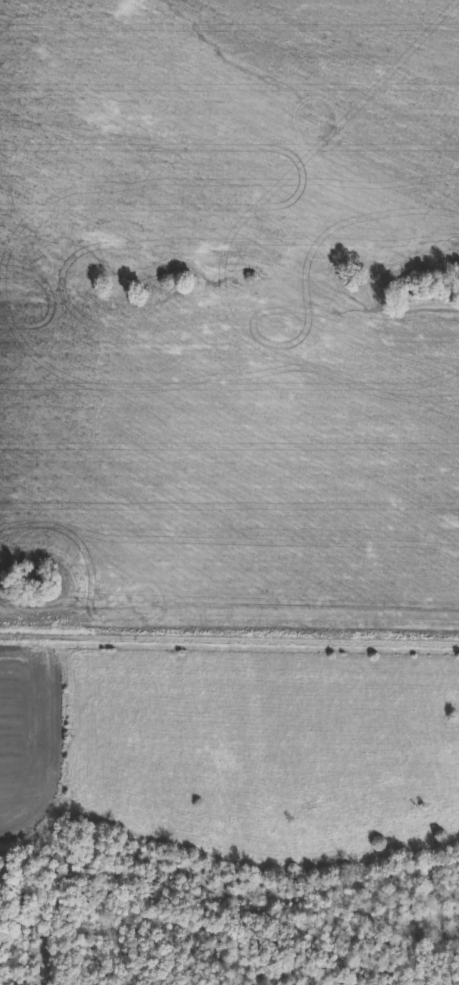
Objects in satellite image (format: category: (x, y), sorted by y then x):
road: (229, 634)

